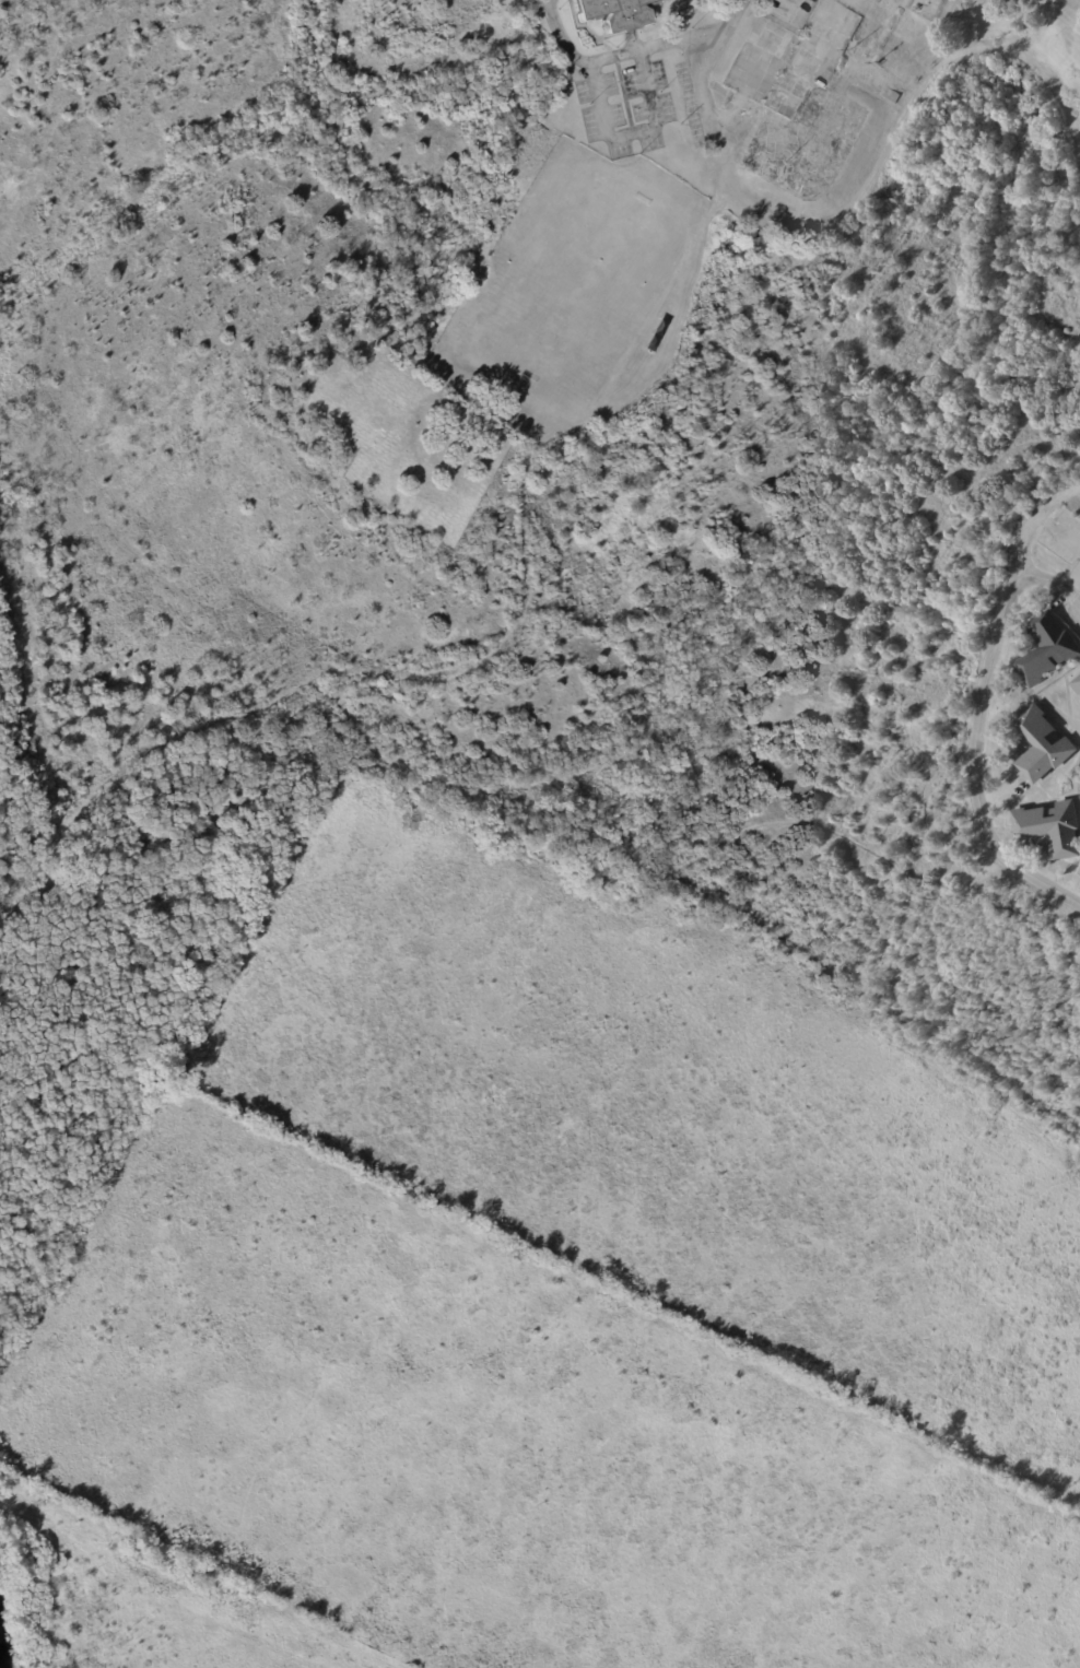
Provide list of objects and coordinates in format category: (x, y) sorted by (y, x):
building: (995, 3)
road: (862, 8)
building: (617, 12)
road: (719, 38)
road: (617, 52)
road: (845, 73)
road: (631, 132)
park: (408, 436)
road: (1053, 582)
building: (1047, 648)
building: (1076, 684)
road: (984, 703)
building: (1042, 744)
building: (1050, 827)
park: (78, 1094)
park: (551, 1301)

